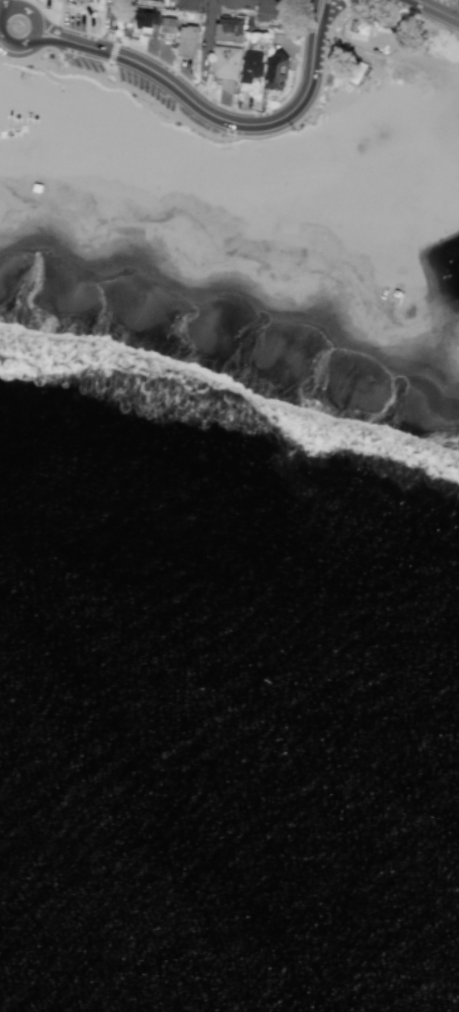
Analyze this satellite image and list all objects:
building: (150, 1)
road: (10, 2)
building: (227, 3)
road: (346, 3)
building: (184, 4)
road: (5, 5)
road: (0, 6)
road: (438, 9)
building: (265, 11)
road: (32, 13)
road: (327, 14)
road: (457, 14)
road: (319, 16)
road: (100, 17)
building: (145, 20)
road: (110, 24)
building: (354, 25)
building: (230, 27)
building: (168, 29)
road: (108, 36)
building: (187, 40)
road: (22, 43)
road: (52, 48)
road: (112, 51)
road: (204, 51)
road: (155, 58)
building: (226, 60)
building: (252, 67)
building: (276, 69)
road: (105, 71)
building: (355, 72)
road: (114, 74)
road: (62, 80)
road: (203, 108)
road: (310, 114)
road: (204, 132)
building: (384, 234)

